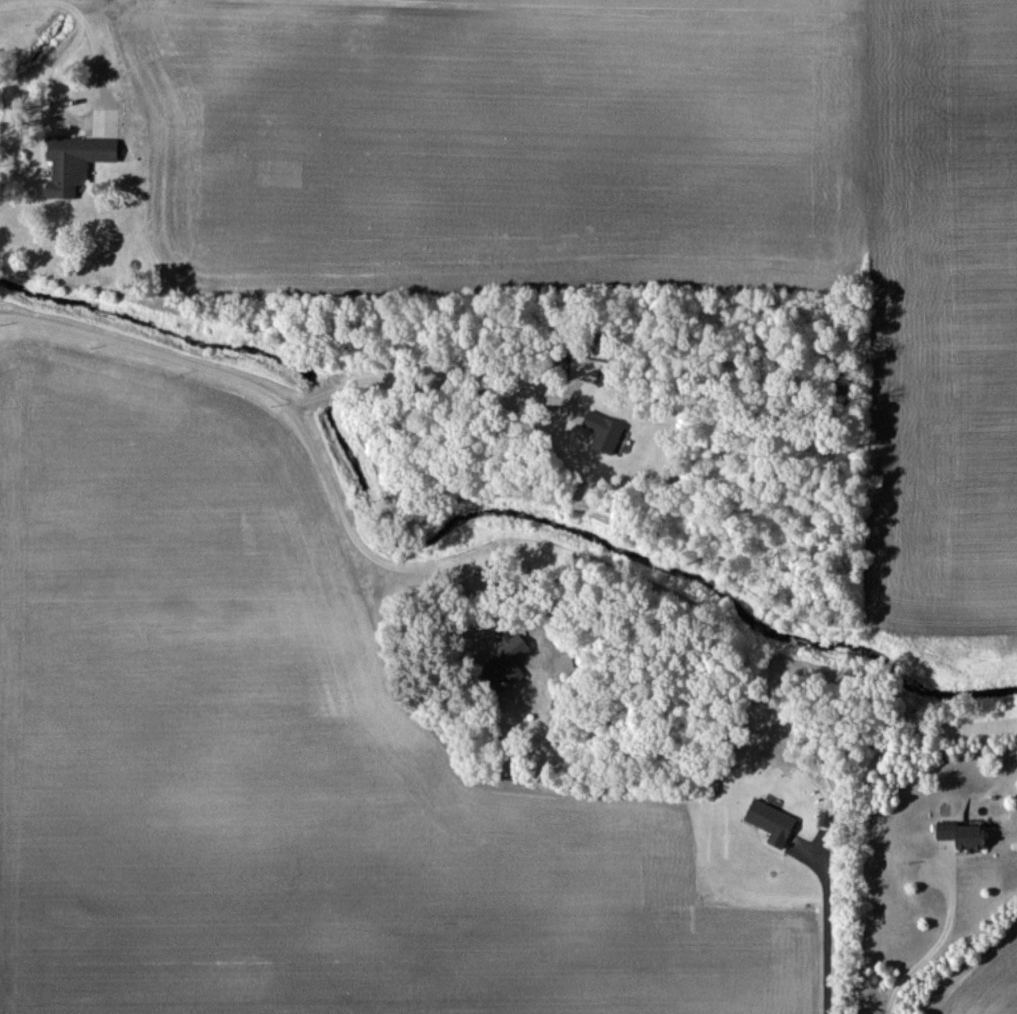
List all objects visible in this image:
road: (23, 74)
building: (73, 163)
road: (293, 420)
building: (958, 836)
road: (938, 937)

